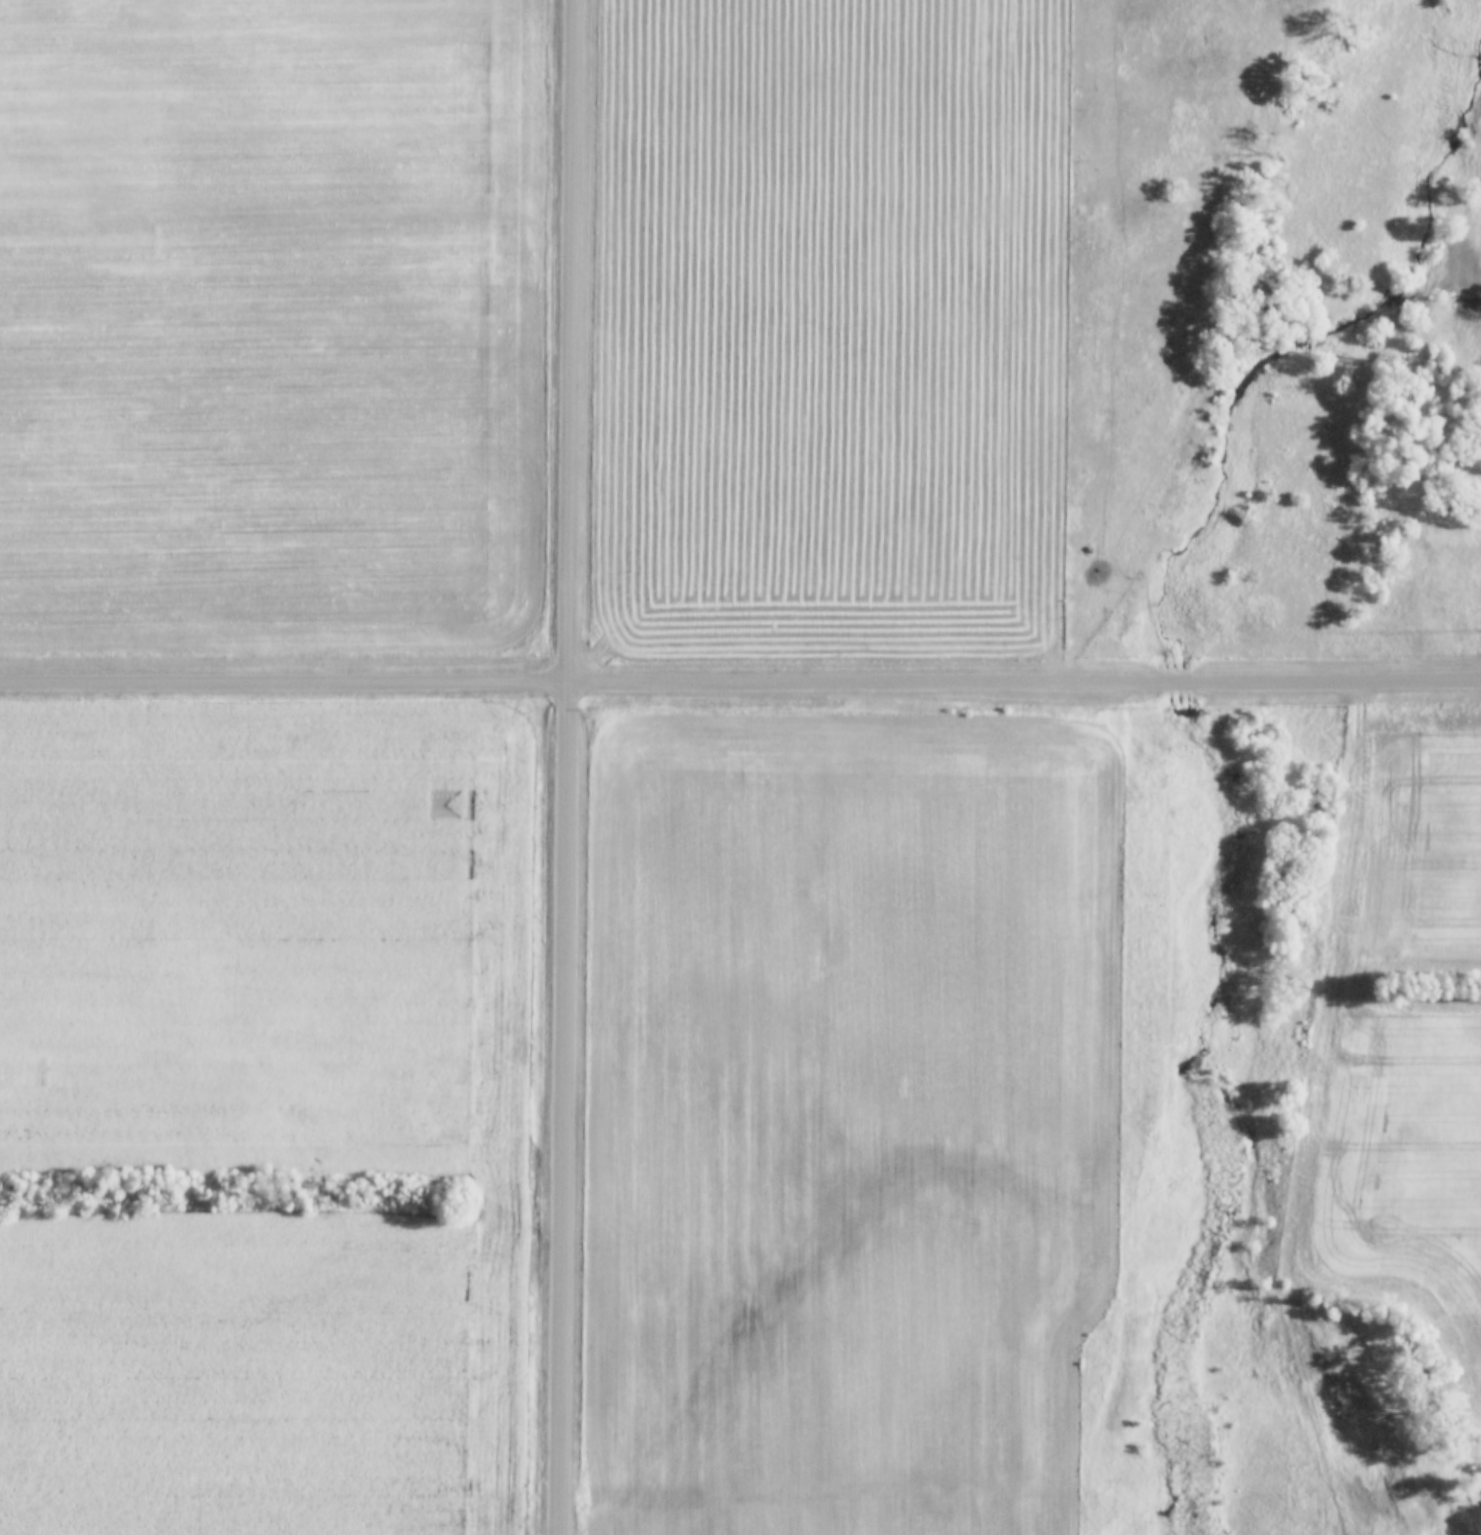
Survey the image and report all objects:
road: (740, 685)
road: (571, 767)

